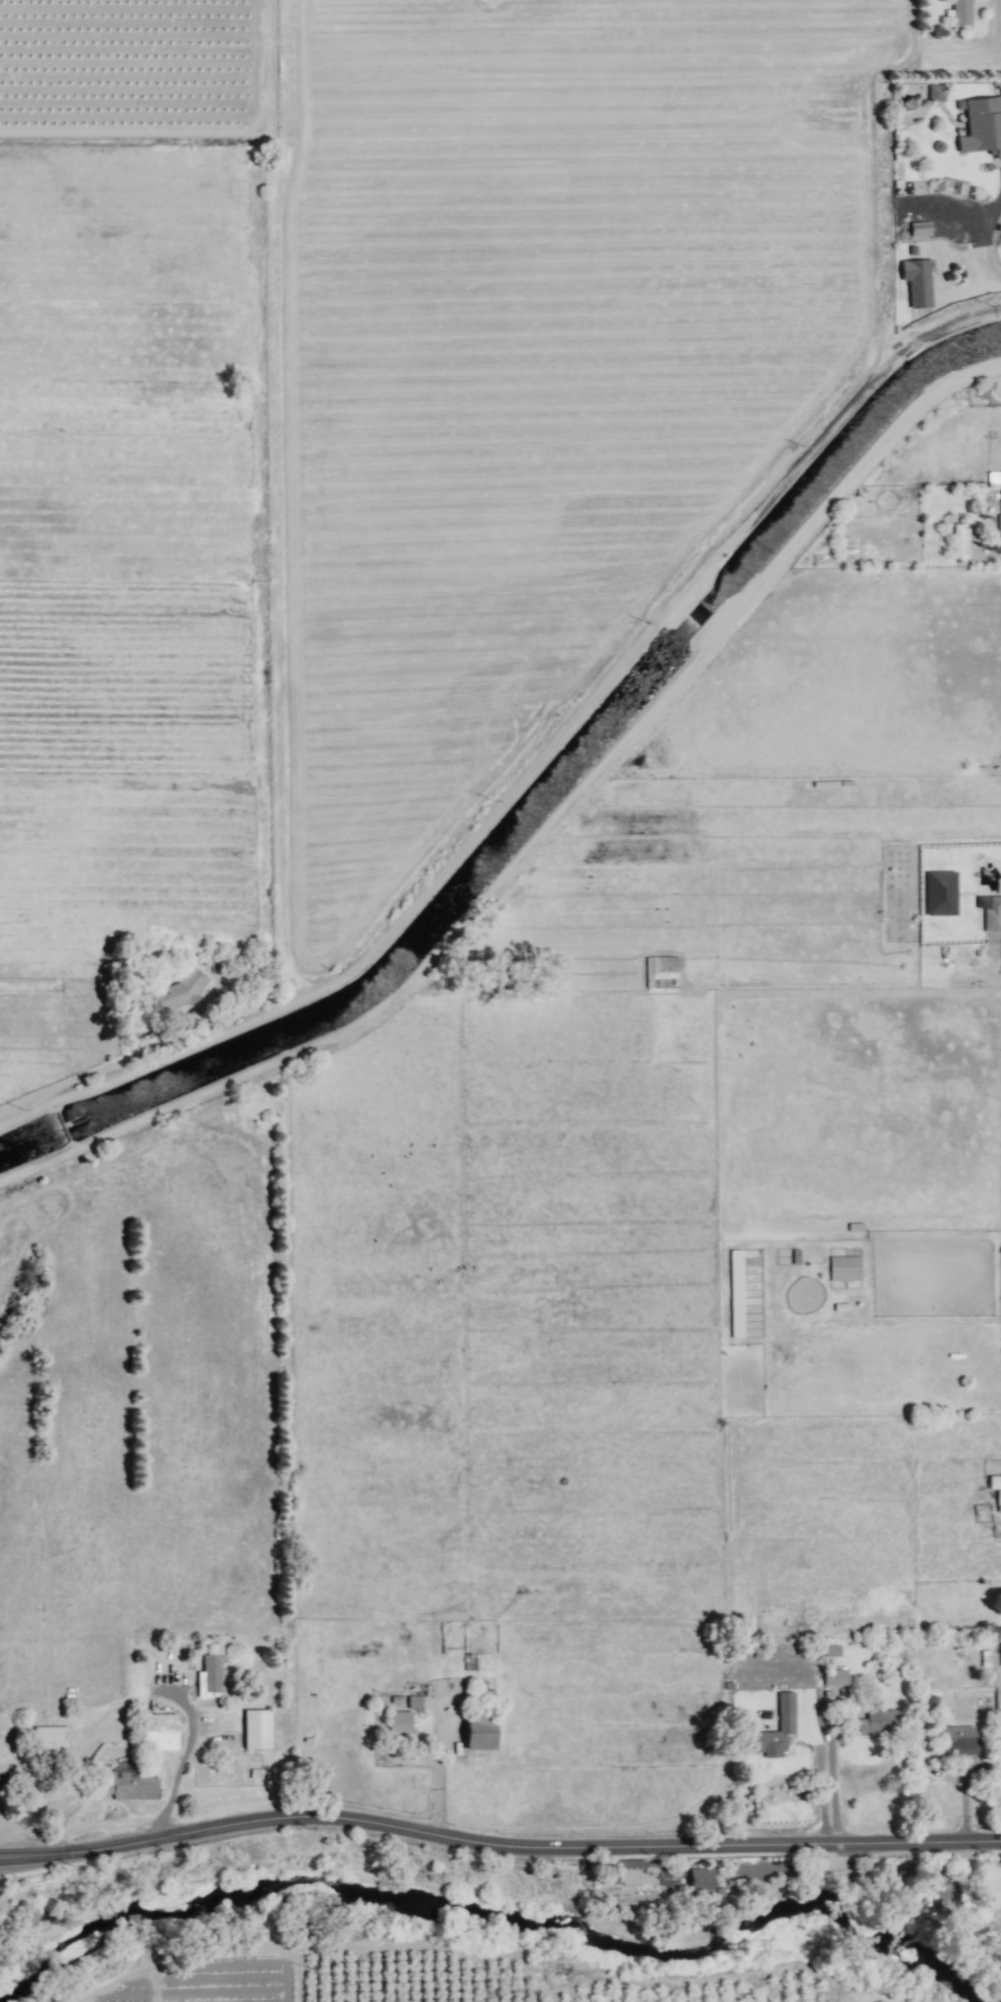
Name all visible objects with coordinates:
building: (961, 12)
building: (936, 92)
building: (981, 125)
building: (919, 228)
road: (982, 241)
building: (917, 281)
building: (998, 524)
building: (960, 540)
building: (941, 893)
building: (990, 911)
building: (184, 988)
building: (844, 1267)
building: (736, 1293)
building: (994, 1481)
building: (998, 1500)
building: (831, 1650)
building: (209, 1676)
building: (835, 1677)
building: (414, 1701)
building: (930, 1704)
building: (785, 1710)
building: (399, 1721)
building: (879, 1721)
building: (257, 1729)
building: (160, 1731)
building: (480, 1733)
building: (50, 1739)
building: (958, 1740)
road: (181, 1763)
road: (436, 1768)
road: (819, 1779)
building: (128, 1783)
road: (497, 1845)
building: (647, 1873)
building: (701, 1878)
building: (946, 1894)

